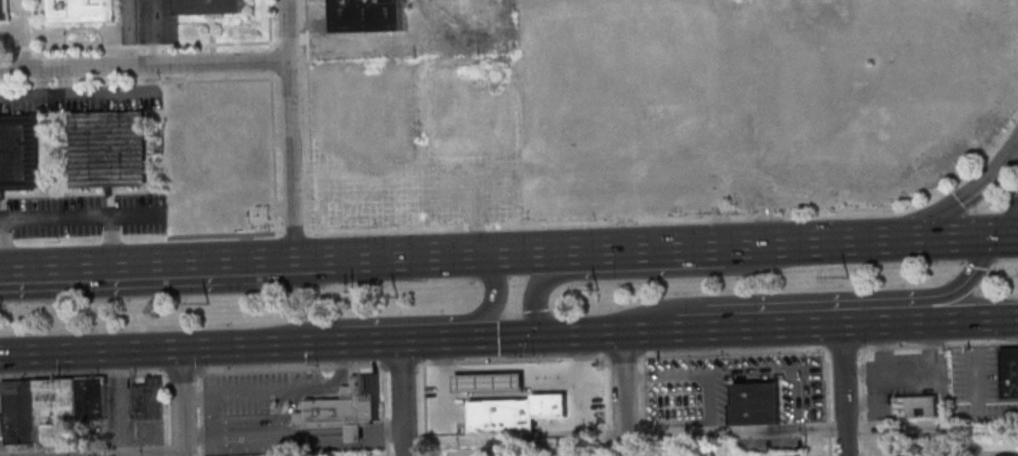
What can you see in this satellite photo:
building: (210, 6)
building: (1, 9)
building: (79, 10)
building: (368, 15)
road: (270, 23)
road: (126, 32)
road: (152, 32)
road: (24, 34)
road: (224, 42)
road: (143, 44)
road: (153, 44)
road: (130, 45)
road: (75, 46)
road: (10, 48)
road: (25, 48)
road: (271, 59)
road: (144, 65)
road: (283, 78)
road: (220, 79)
road: (63, 81)
road: (40, 82)
road: (86, 93)
road: (309, 119)
road: (289, 127)
building: (106, 149)
building: (17, 152)
road: (274, 154)
road: (961, 197)
road: (55, 218)
road: (1007, 218)
road: (1, 220)
road: (294, 231)
road: (1007, 234)
traffic signals: (996, 235)
road: (943, 236)
traffic signals: (891, 238)
road: (816, 241)
road: (655, 247)
road: (511, 251)
road: (267, 255)
road: (399, 256)
road: (95, 261)
road: (642, 272)
power tower: (848, 276)
road: (964, 280)
road: (173, 284)
power tower: (598, 289)
road: (492, 295)
power tower: (397, 296)
power tower: (208, 303)
road: (973, 320)
road: (796, 326)
road: (633, 331)
road: (537, 335)
traffic signals: (545, 335)
road: (435, 339)
road: (372, 340)
road: (335, 341)
road: (293, 342)
road: (880, 347)
road: (131, 348)
road: (608, 357)
road: (750, 368)
road: (906, 368)
road: (510, 369)
road: (181, 371)
road: (676, 372)
building: (1008, 374)
road: (82, 375)
parking lot: (973, 375)
parking lot: (900, 377)
building: (493, 386)
road: (976, 387)
road: (842, 390)
road: (279, 391)
road: (622, 393)
road: (400, 397)
building: (145, 398)
parking lot: (685, 400)
building: (89, 401)
road: (181, 401)
road: (862, 401)
building: (54, 402)
road: (825, 403)
road: (639, 405)
building: (753, 405)
road: (604, 406)
building: (914, 407)
building: (343, 408)
road: (385, 410)
road: (421, 410)
building: (18, 412)
road: (199, 413)
road: (164, 414)
building: (519, 416)
road: (208, 417)
road: (931, 424)
road: (733, 431)
road: (381, 433)
road: (353, 434)
road: (264, 436)
parking lot: (768, 444)
building: (679, 449)
building: (564, 450)
building: (968, 452)
road: (96, 453)
building: (1008, 455)

